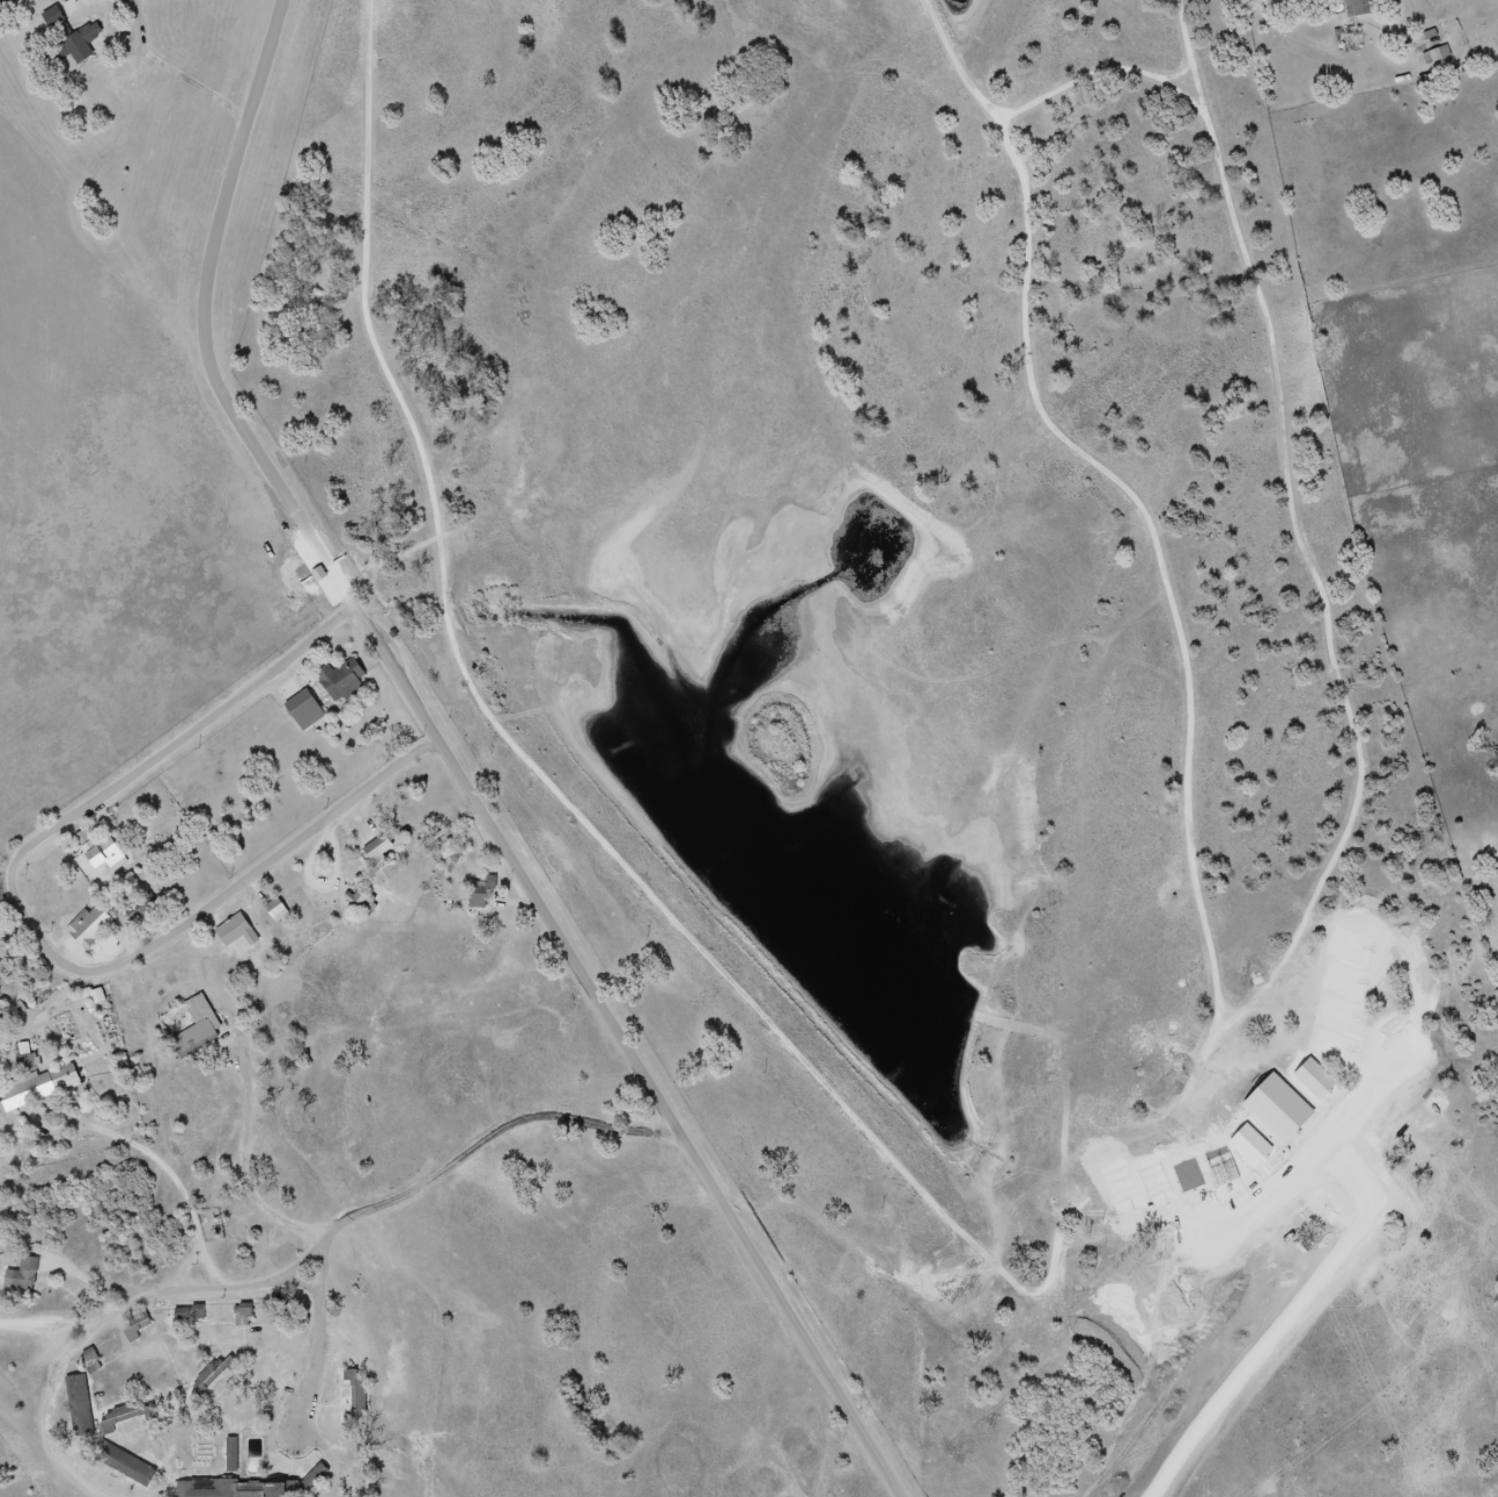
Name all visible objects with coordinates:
road: (78, 6)
building: (1354, 8)
road: (133, 37)
building: (69, 38)
building: (1432, 55)
road: (203, 319)
building: (337, 680)
building: (301, 710)
road: (123, 783)
building: (374, 850)
building: (105, 853)
road: (275, 857)
building: (475, 892)
building: (358, 903)
building: (280, 910)
building: (93, 927)
building: (241, 935)
building: (99, 997)
road: (641, 1046)
building: (67, 1077)
road: (136, 1148)
road: (240, 1161)
road: (347, 1220)
building: (139, 1328)
building: (360, 1391)
road: (49, 1421)
building: (113, 1423)
building: (132, 1466)
building: (227, 1489)

